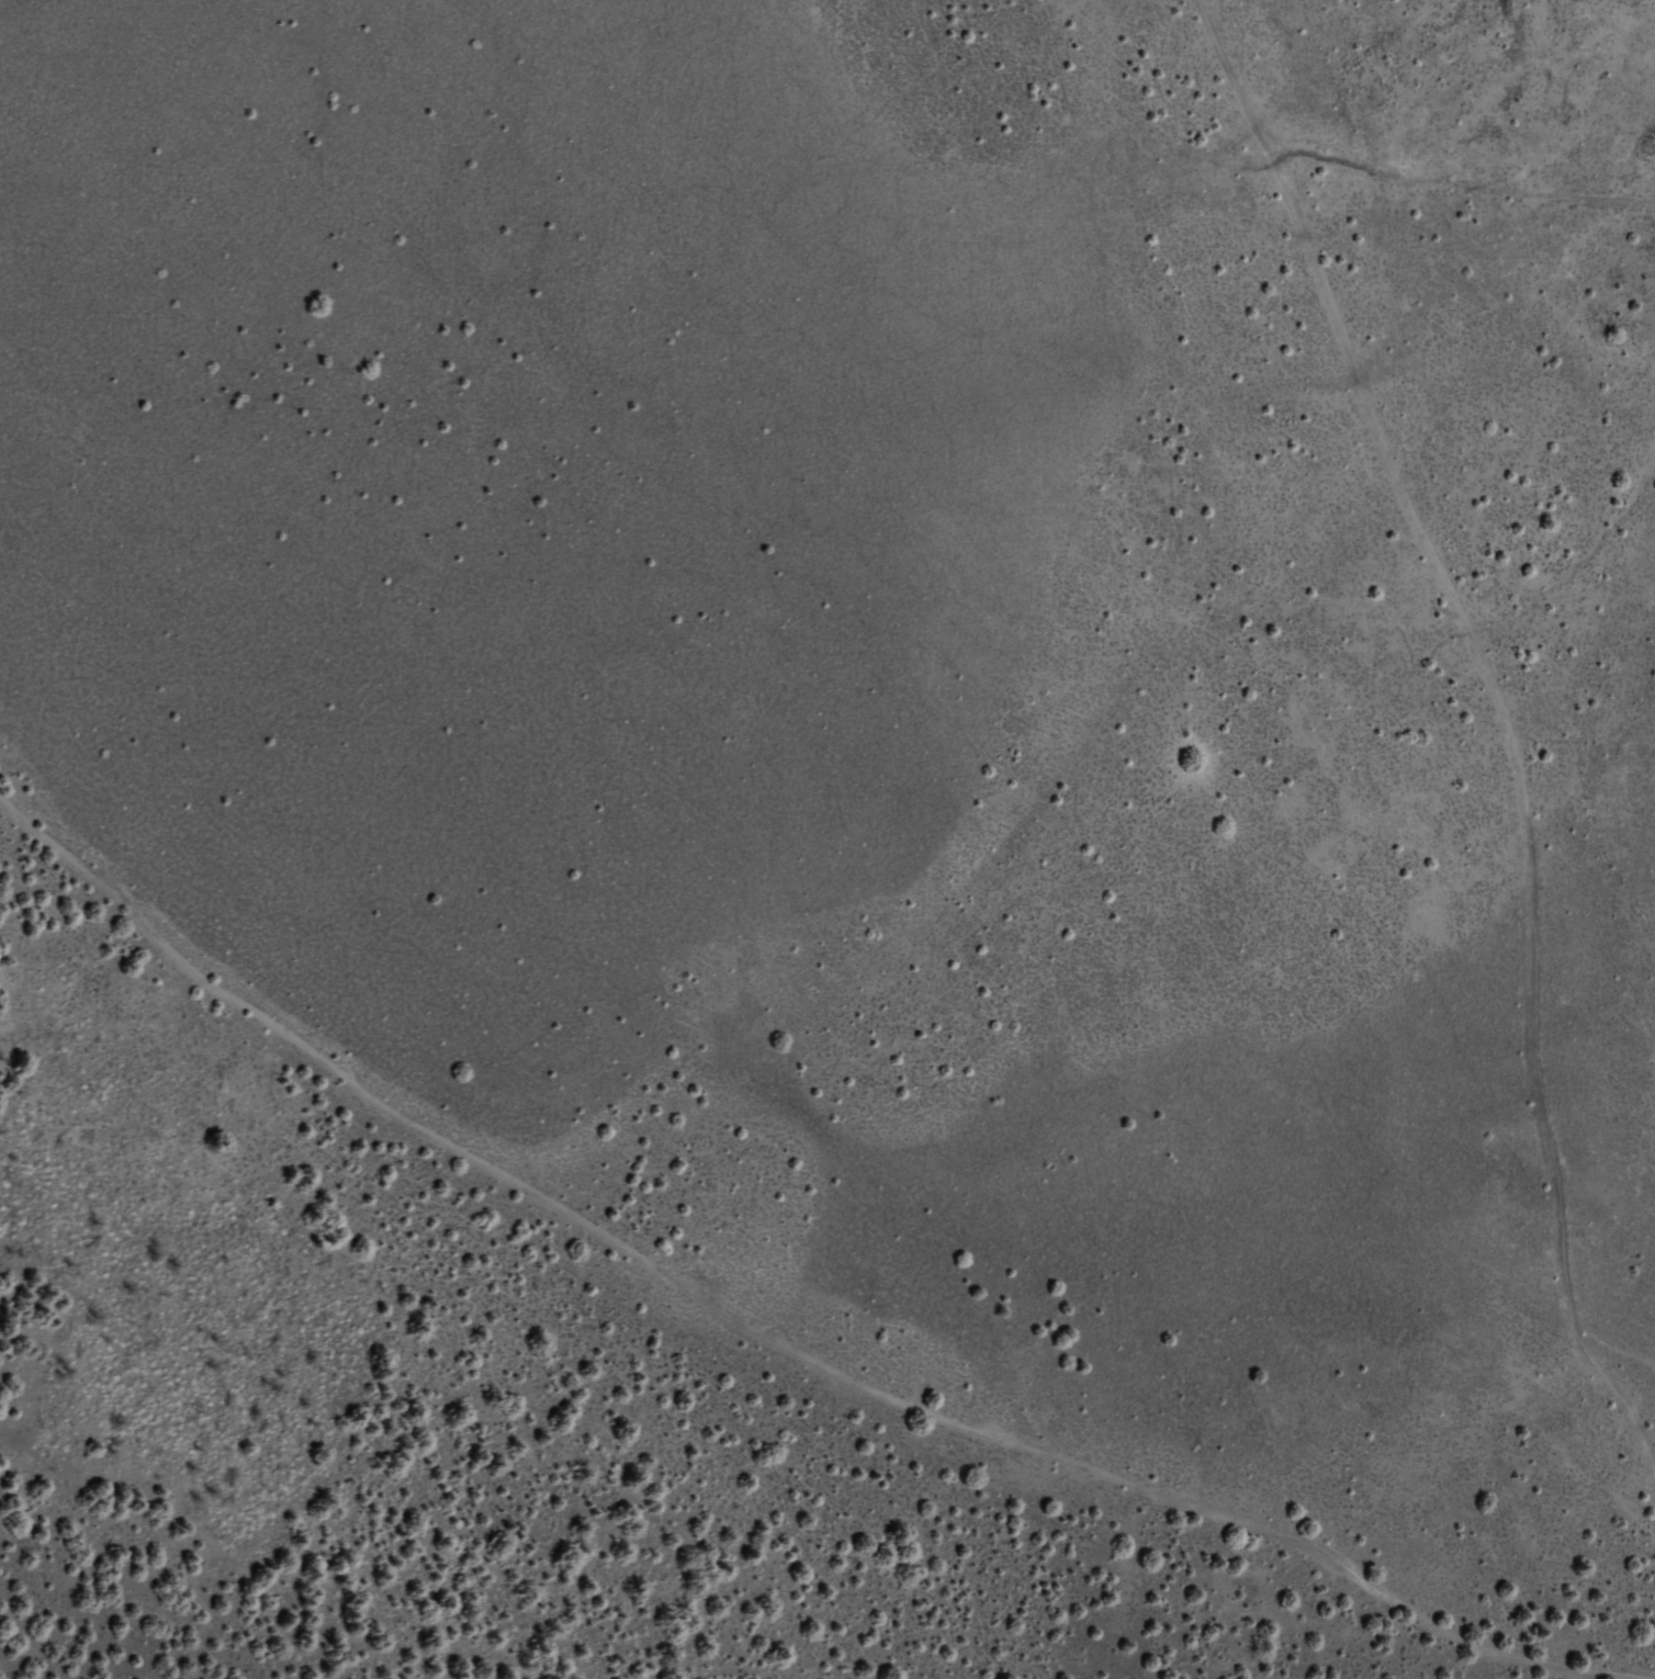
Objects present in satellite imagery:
road: (1516, 751)
road: (774, 1336)

